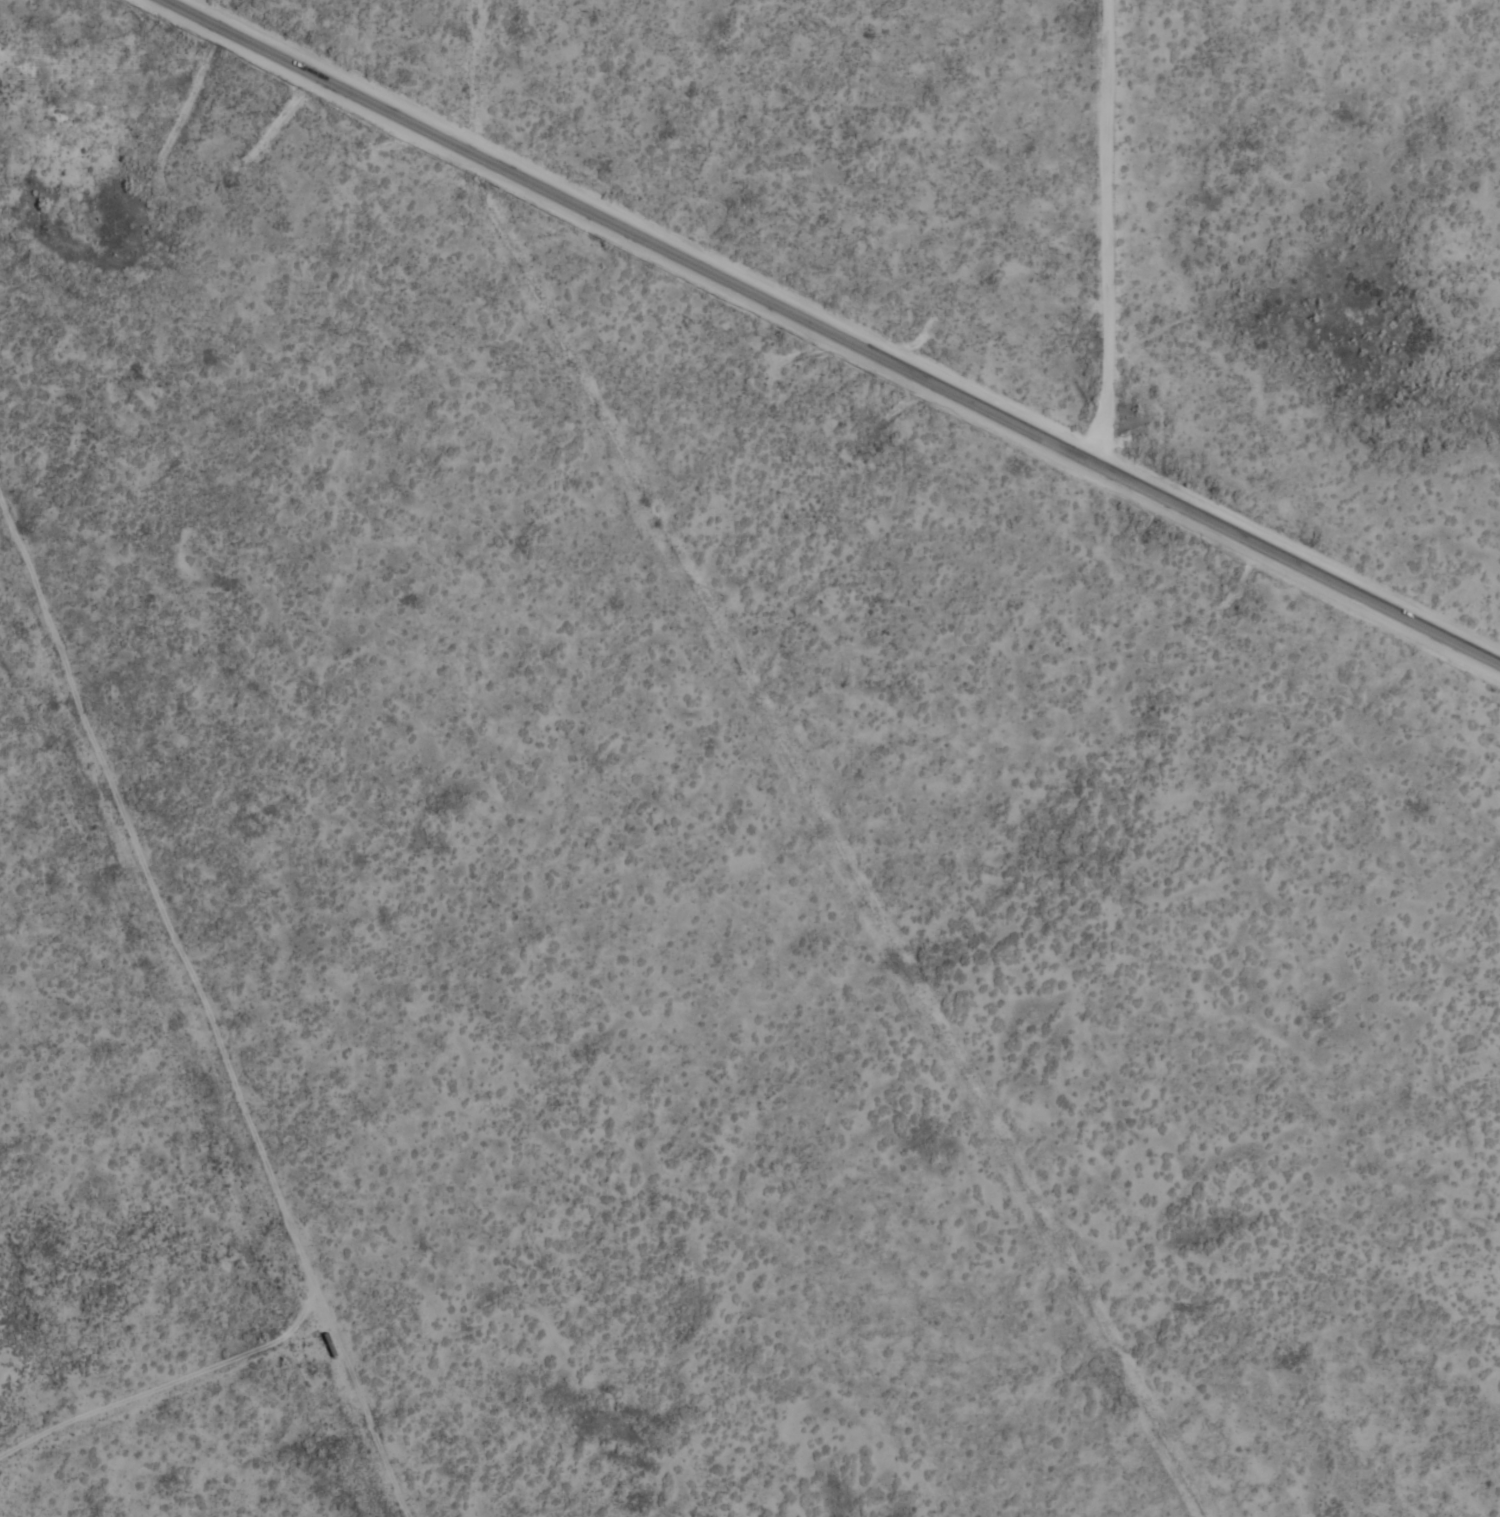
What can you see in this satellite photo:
road: (1108, 232)
road: (833, 333)
road: (160, 368)
road: (207, 1003)
road: (178, 1381)

